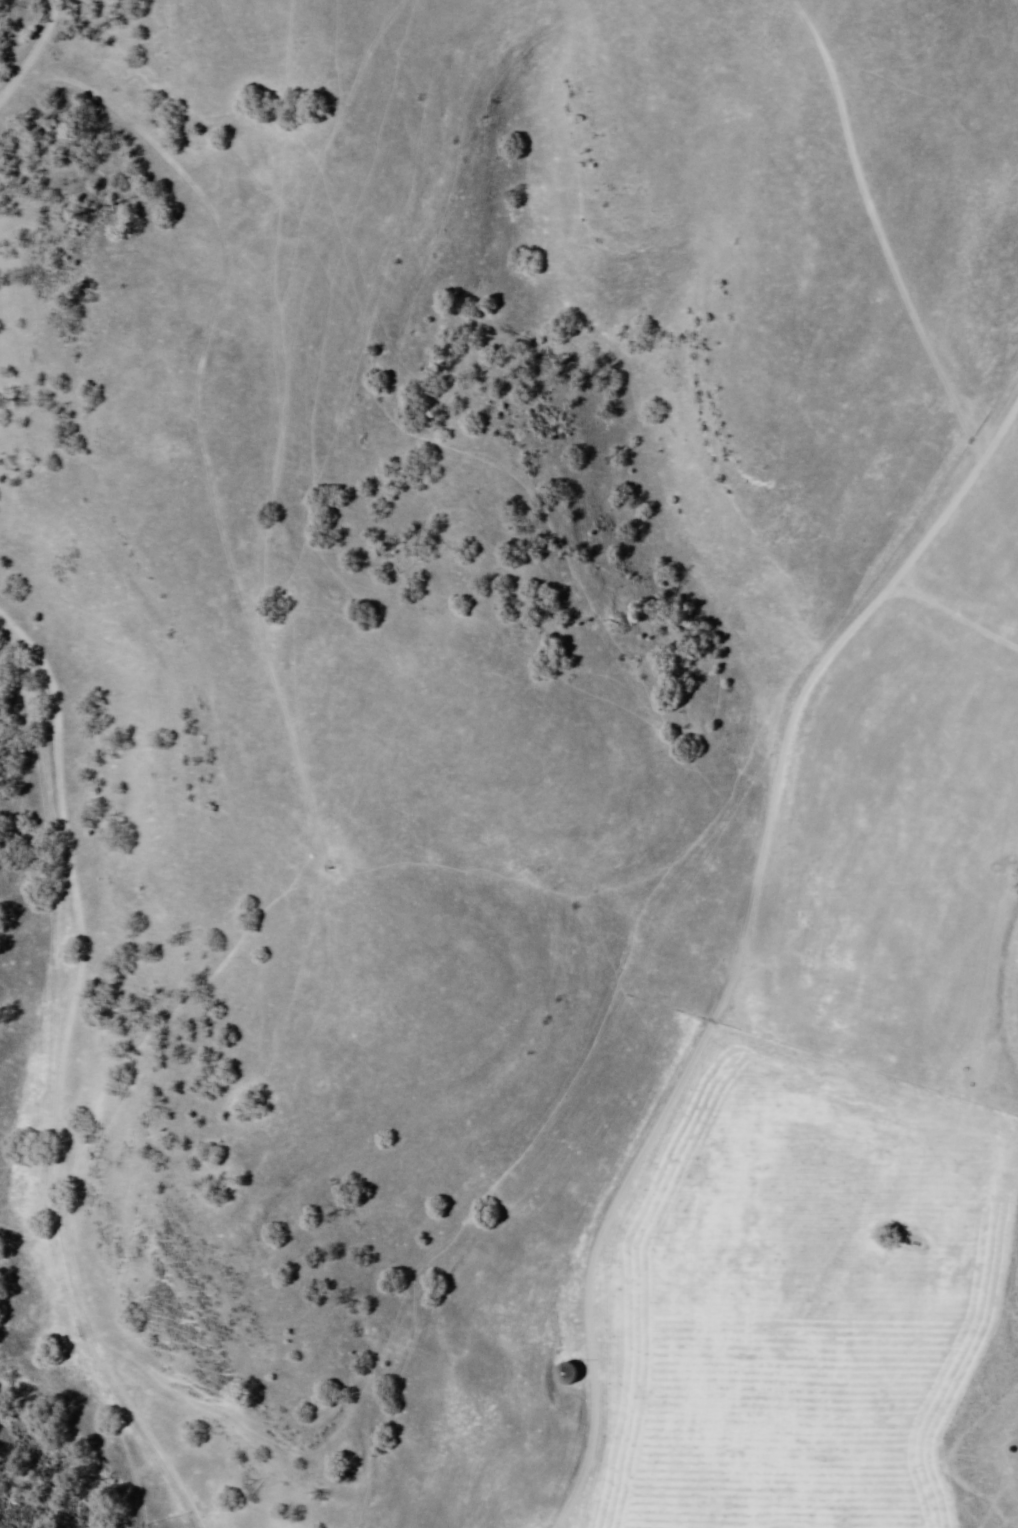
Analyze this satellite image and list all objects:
road: (17, 28)
road: (921, 209)
road: (742, 939)
road: (33, 1013)
building: (566, 1374)

